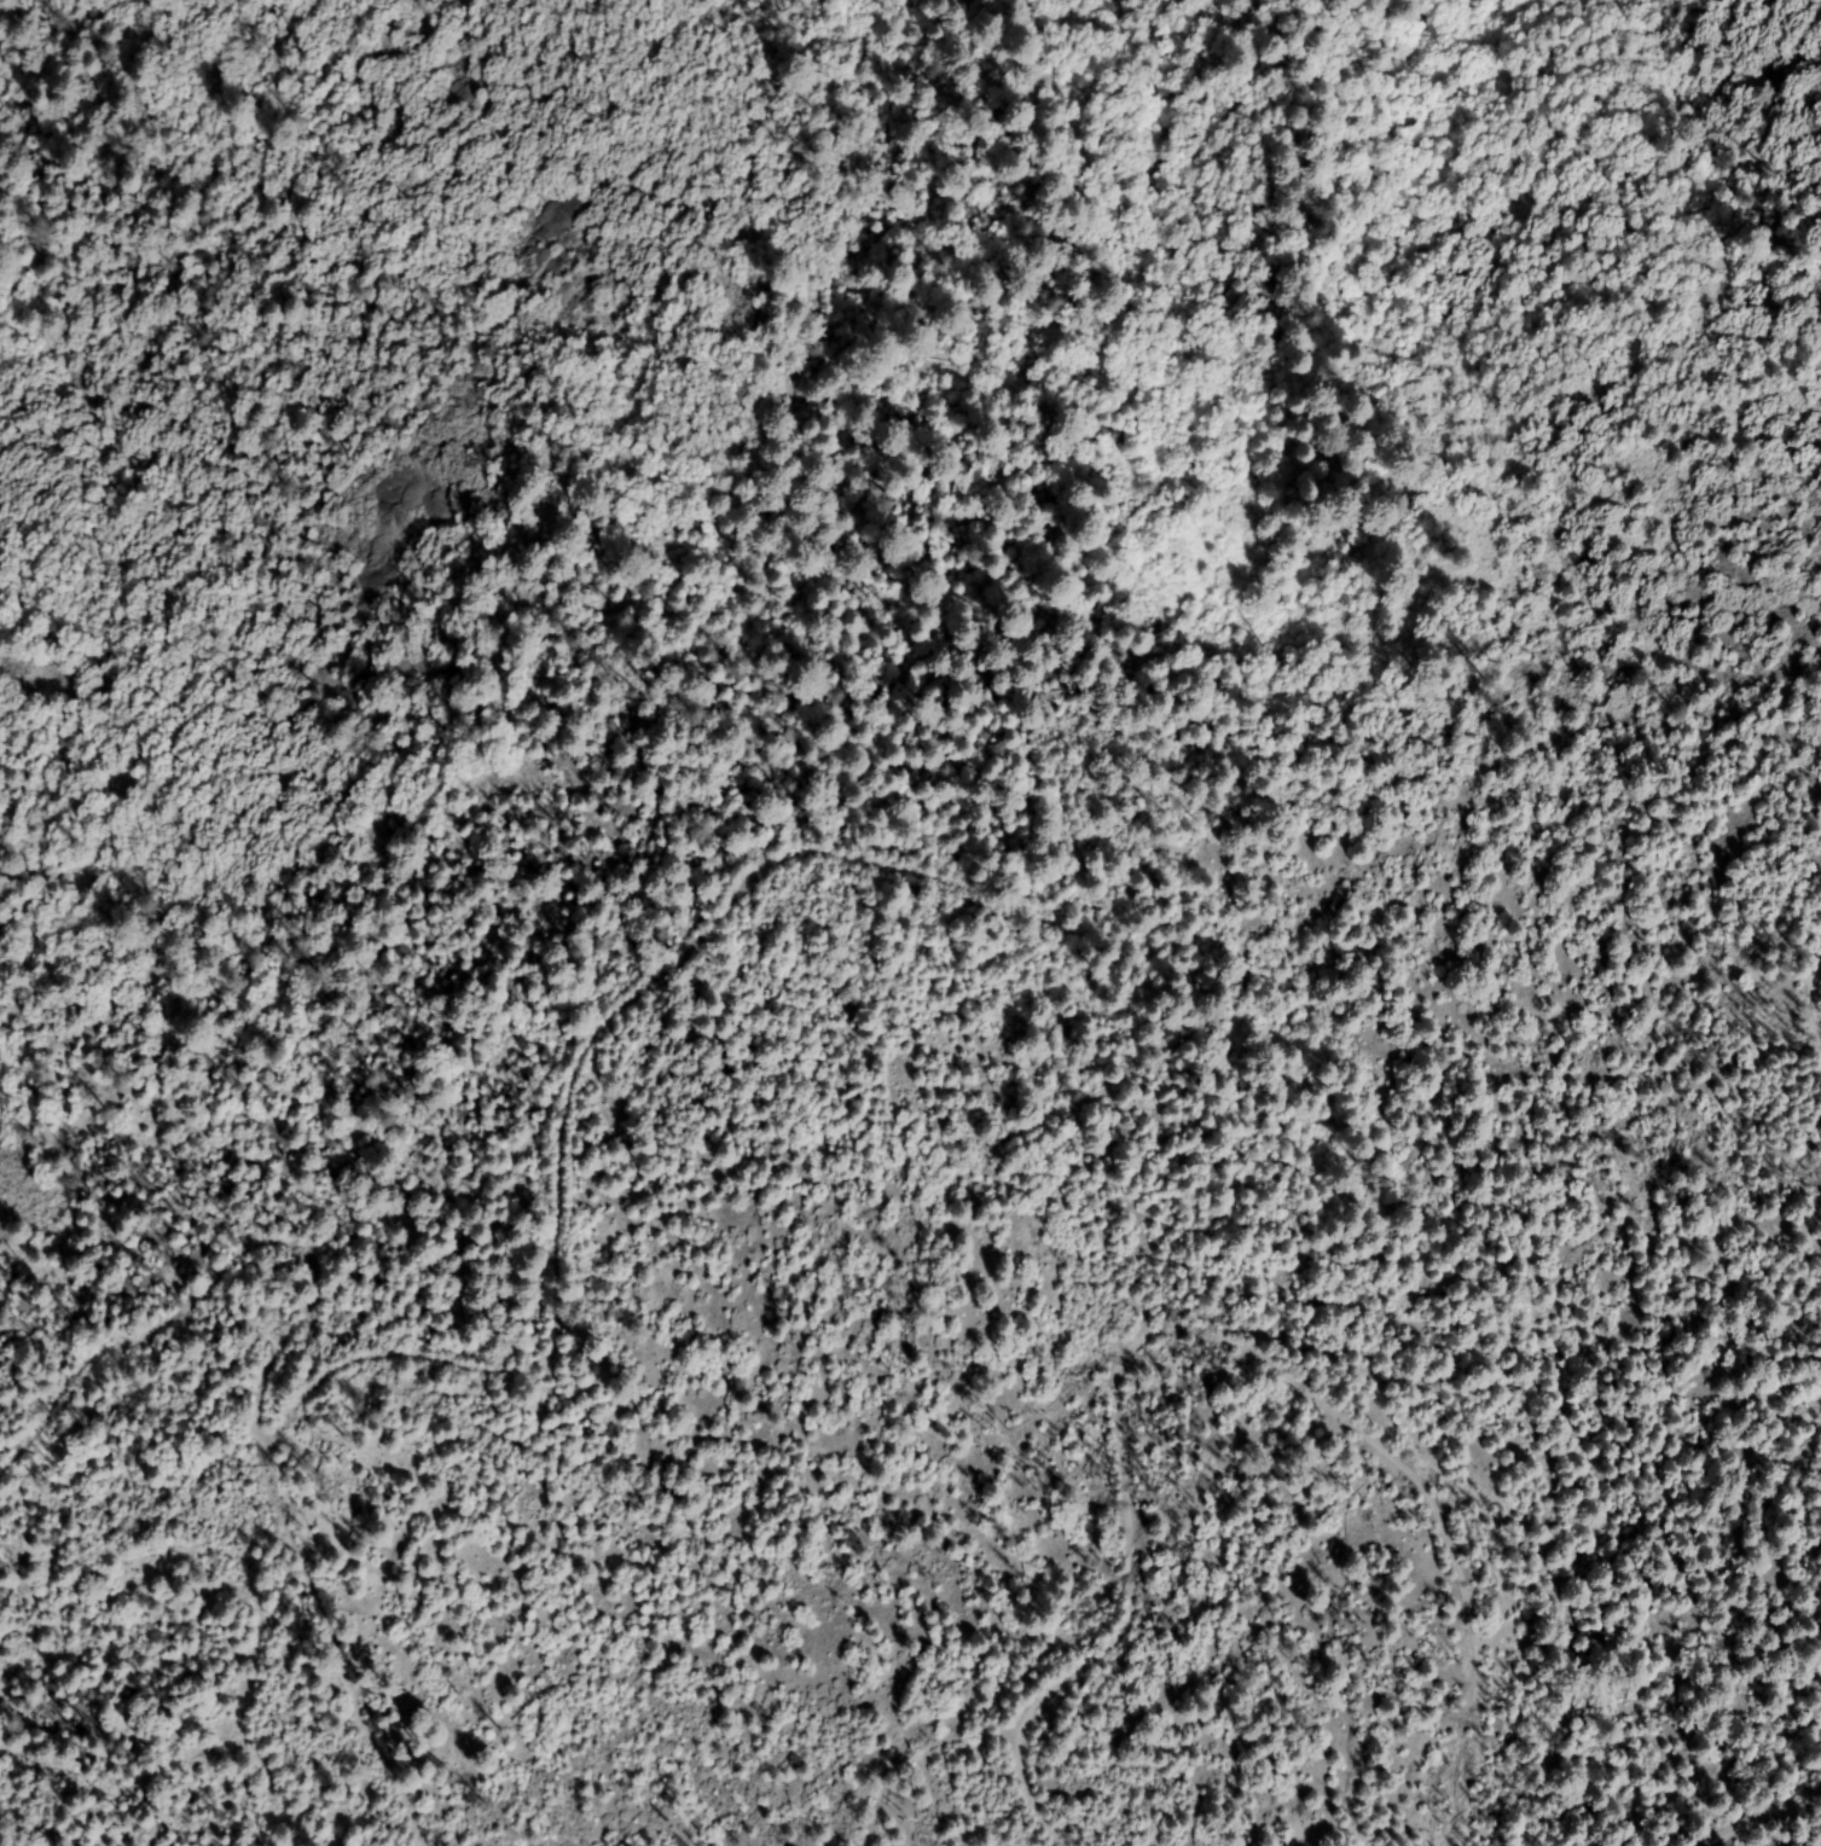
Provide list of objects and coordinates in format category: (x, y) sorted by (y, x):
road: (1815, 1002)
road: (1197, 1331)
road: (552, 1336)
road: (1764, 1815)

